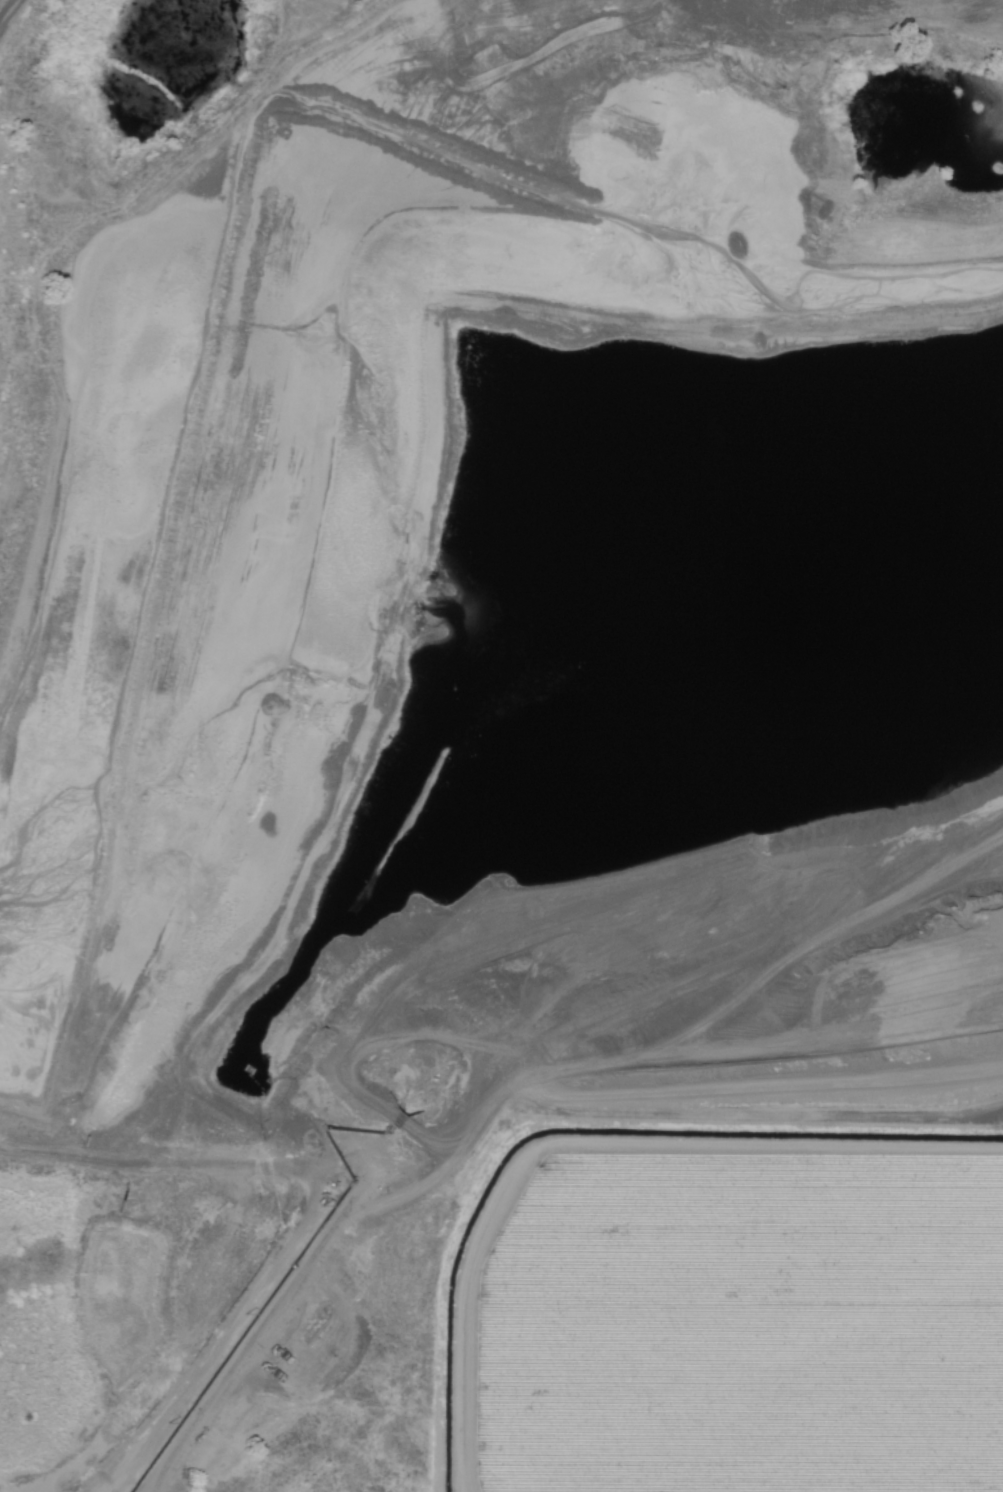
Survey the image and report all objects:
quarry: (483, 669)

